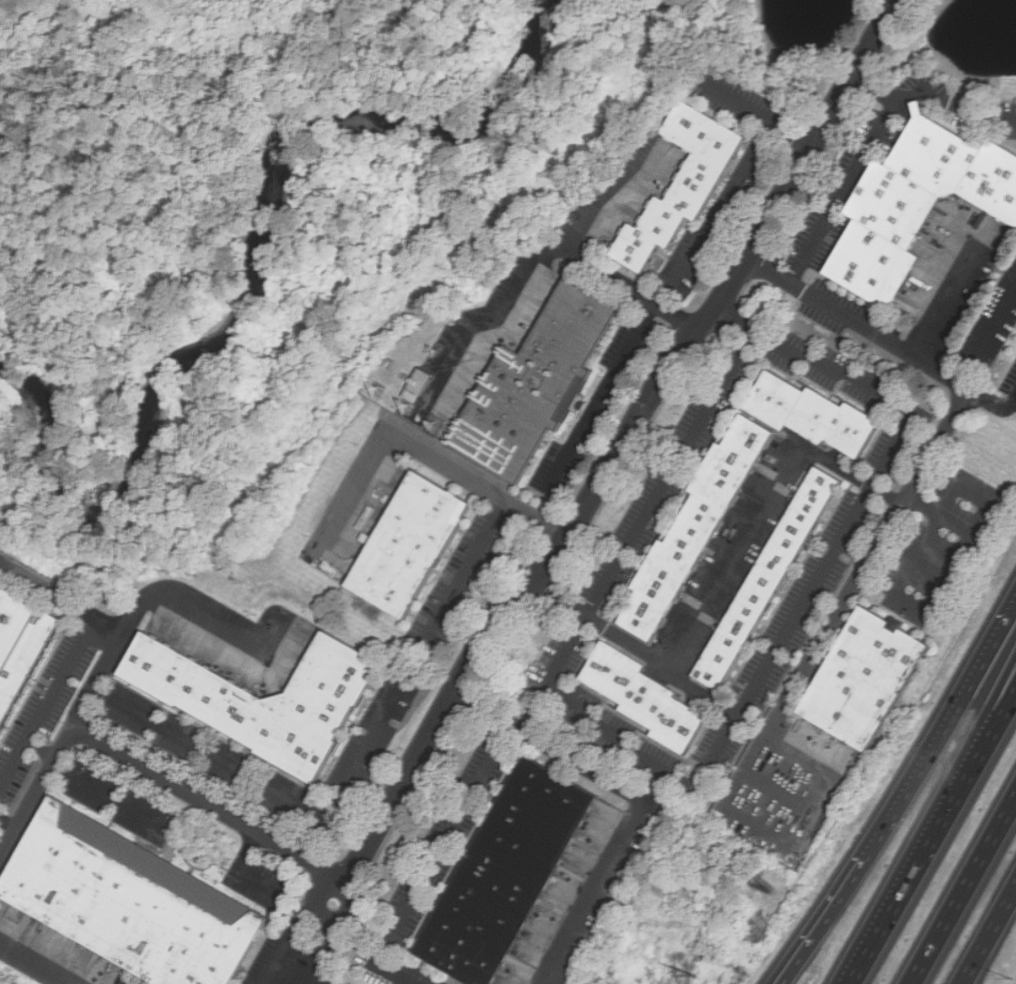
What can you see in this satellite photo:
road: (875, 89)
road: (794, 134)
road: (874, 136)
building: (678, 184)
road: (608, 196)
building: (915, 203)
road: (535, 255)
road: (681, 271)
river: (252, 288)
road: (945, 303)
road: (987, 338)
building: (529, 384)
road: (991, 403)
building: (806, 413)
road: (940, 433)
road: (421, 450)
road: (618, 454)
road: (889, 495)
building: (693, 527)
building: (406, 543)
road: (954, 564)
road: (467, 567)
building: (764, 576)
road: (135, 614)
building: (19, 641)
road: (638, 649)
building: (859, 678)
road: (97, 680)
building: (258, 696)
building: (640, 696)
road: (48, 702)
road: (974, 741)
road: (41, 749)
road: (209, 755)
road: (363, 755)
road: (974, 757)
road: (710, 765)
road: (144, 768)
road: (902, 796)
road: (107, 798)
road: (639, 798)
road: (452, 829)
road: (316, 840)
road: (239, 871)
building: (502, 872)
road: (963, 890)
building: (126, 901)
road: (888, 906)
road: (289, 930)
road: (988, 935)
road: (391, 938)
road: (328, 945)
road: (37, 965)

